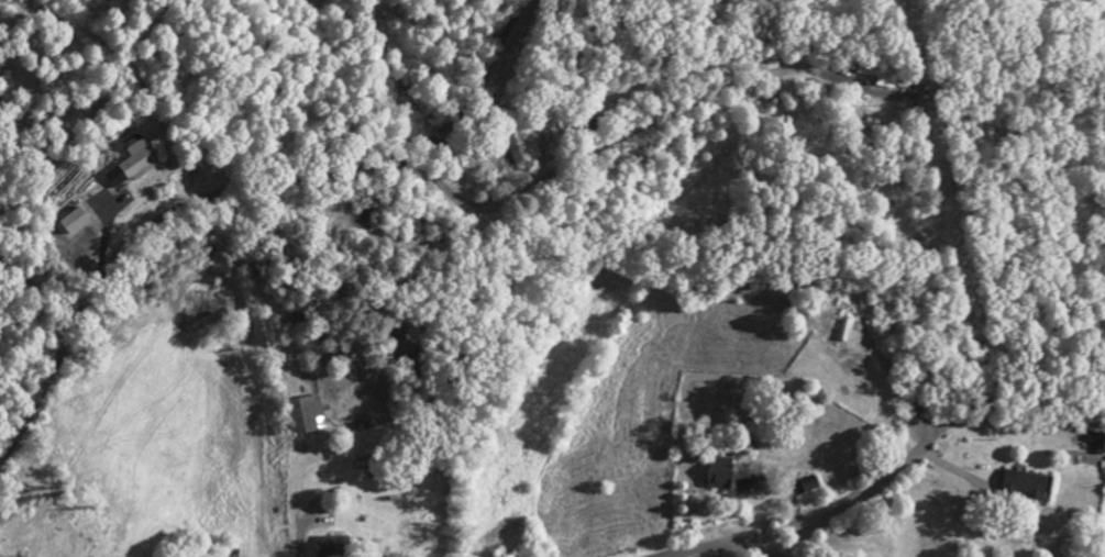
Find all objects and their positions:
building: (876, 78)
road: (616, 144)
building: (110, 169)
road: (237, 193)
building: (51, 225)
building: (302, 419)
building: (718, 476)
building: (1019, 488)
building: (808, 489)
road: (291, 502)
road: (850, 503)
building: (330, 548)
road: (722, 549)

